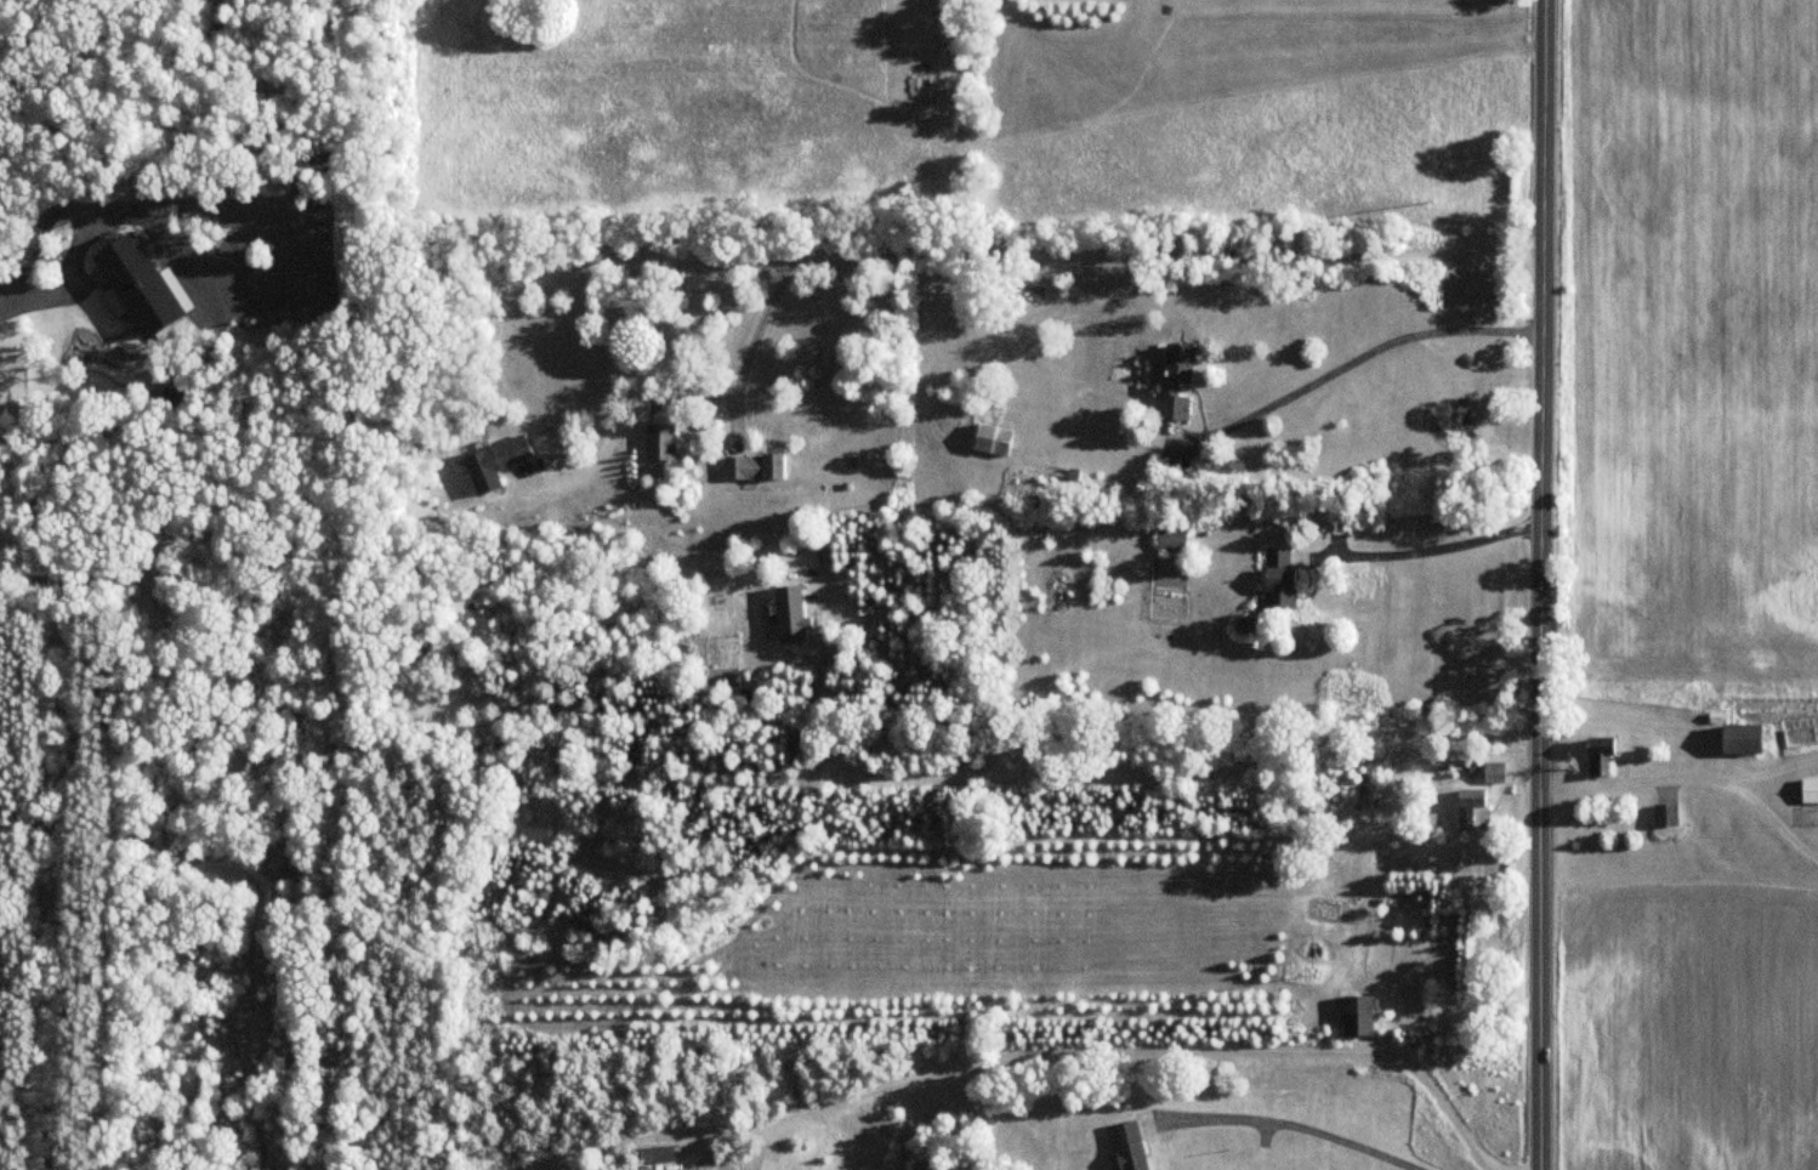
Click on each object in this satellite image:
road: (971, 249)
road: (763, 333)
road: (1359, 356)
building: (1177, 384)
building: (993, 441)
building: (660, 443)
building: (495, 464)
building: (754, 467)
building: (1171, 543)
road: (1431, 549)
building: (1278, 579)
road: (1545, 585)
building: (1742, 740)
building: (1601, 759)
road: (1766, 772)
building: (1494, 774)
road: (1112, 779)
road: (1629, 780)
building: (1810, 791)
building: (1472, 810)
road: (1768, 811)
building: (1665, 817)
building: (1357, 1011)
road: (1149, 1053)
road: (1289, 1125)
building: (1127, 1147)

